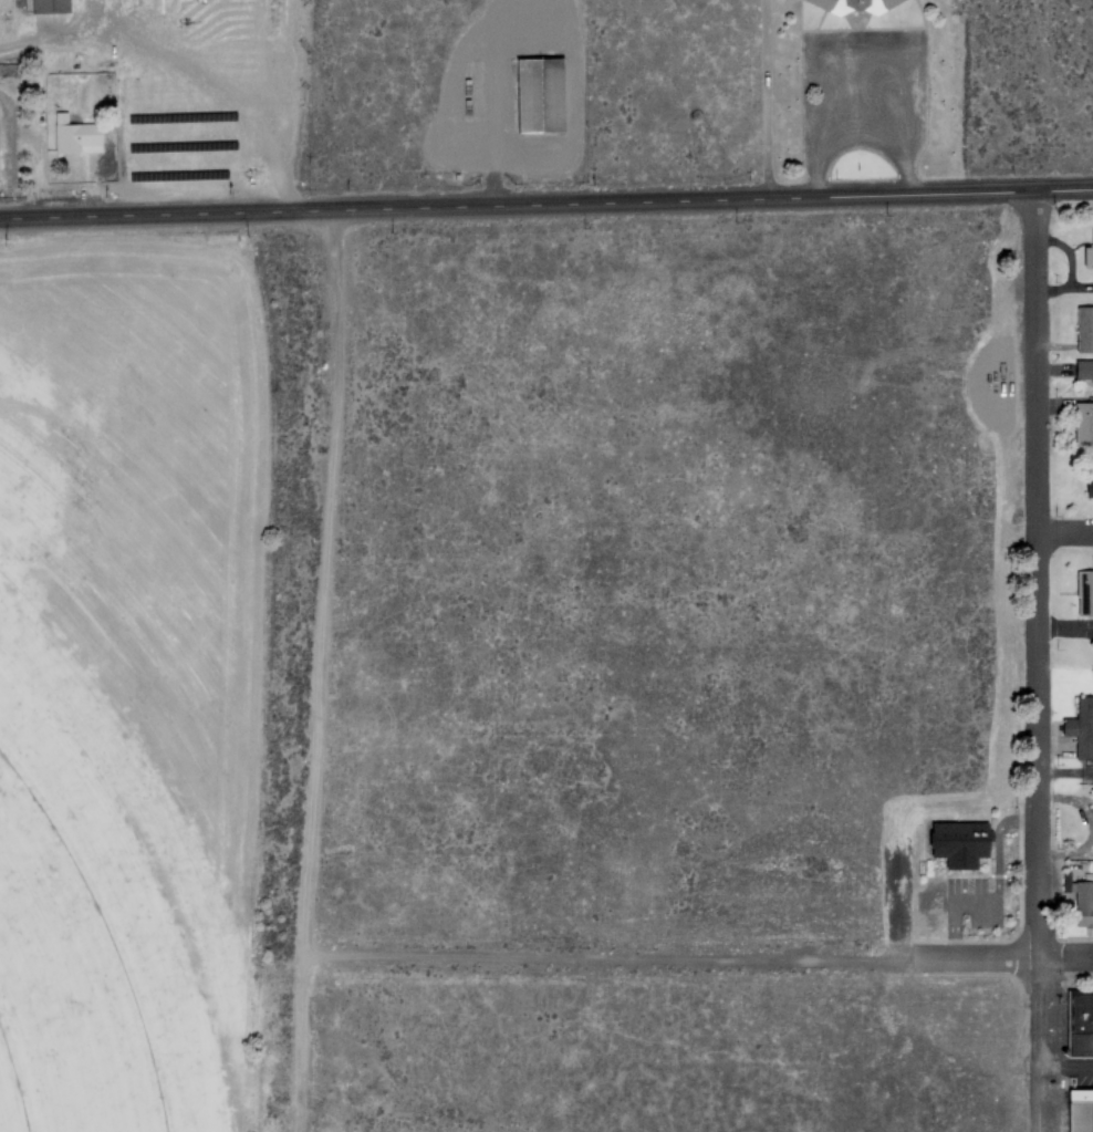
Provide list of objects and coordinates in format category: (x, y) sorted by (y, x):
building: (850, 4)
building: (49, 6)
building: (7, 71)
building: (538, 94)
road: (771, 102)
building: (76, 135)
road: (647, 206)
road: (101, 217)
building: (1087, 252)
building: (1083, 326)
building: (1083, 370)
building: (1083, 422)
building: (1087, 485)
road: (1064, 533)
road: (1034, 577)
building: (1084, 591)
building: (1091, 643)
building: (1080, 725)
building: (958, 841)
road: (1063, 853)
building: (1083, 901)
road: (1064, 959)
building: (1080, 1025)
road: (1038, 1046)
building: (1080, 1110)

